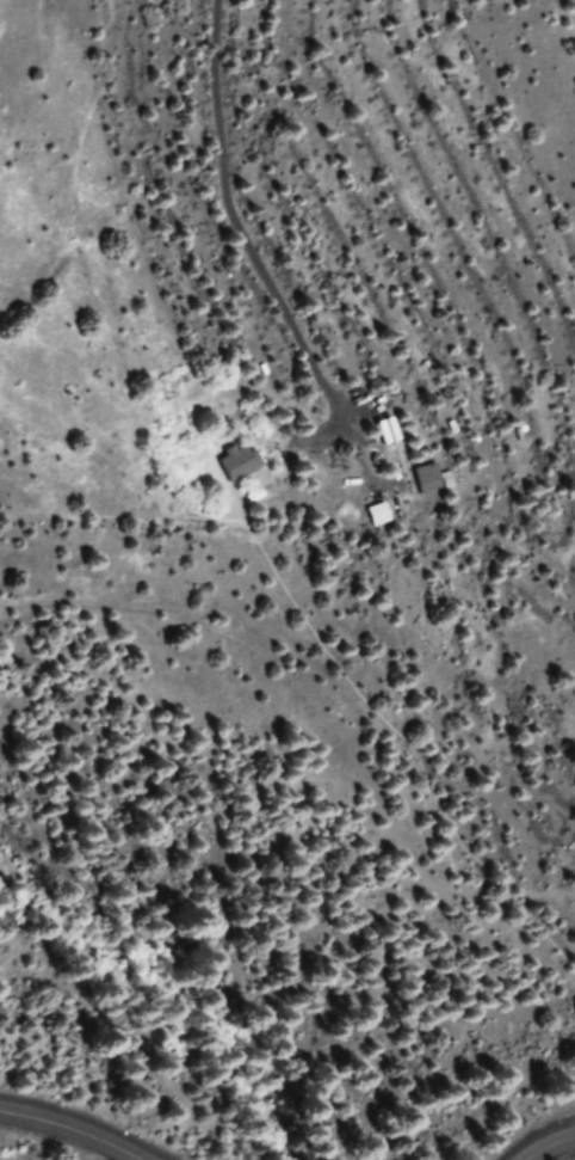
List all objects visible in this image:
building: (239, 460)
building: (429, 480)
building: (377, 514)
road: (70, 1129)
road: (550, 1147)

